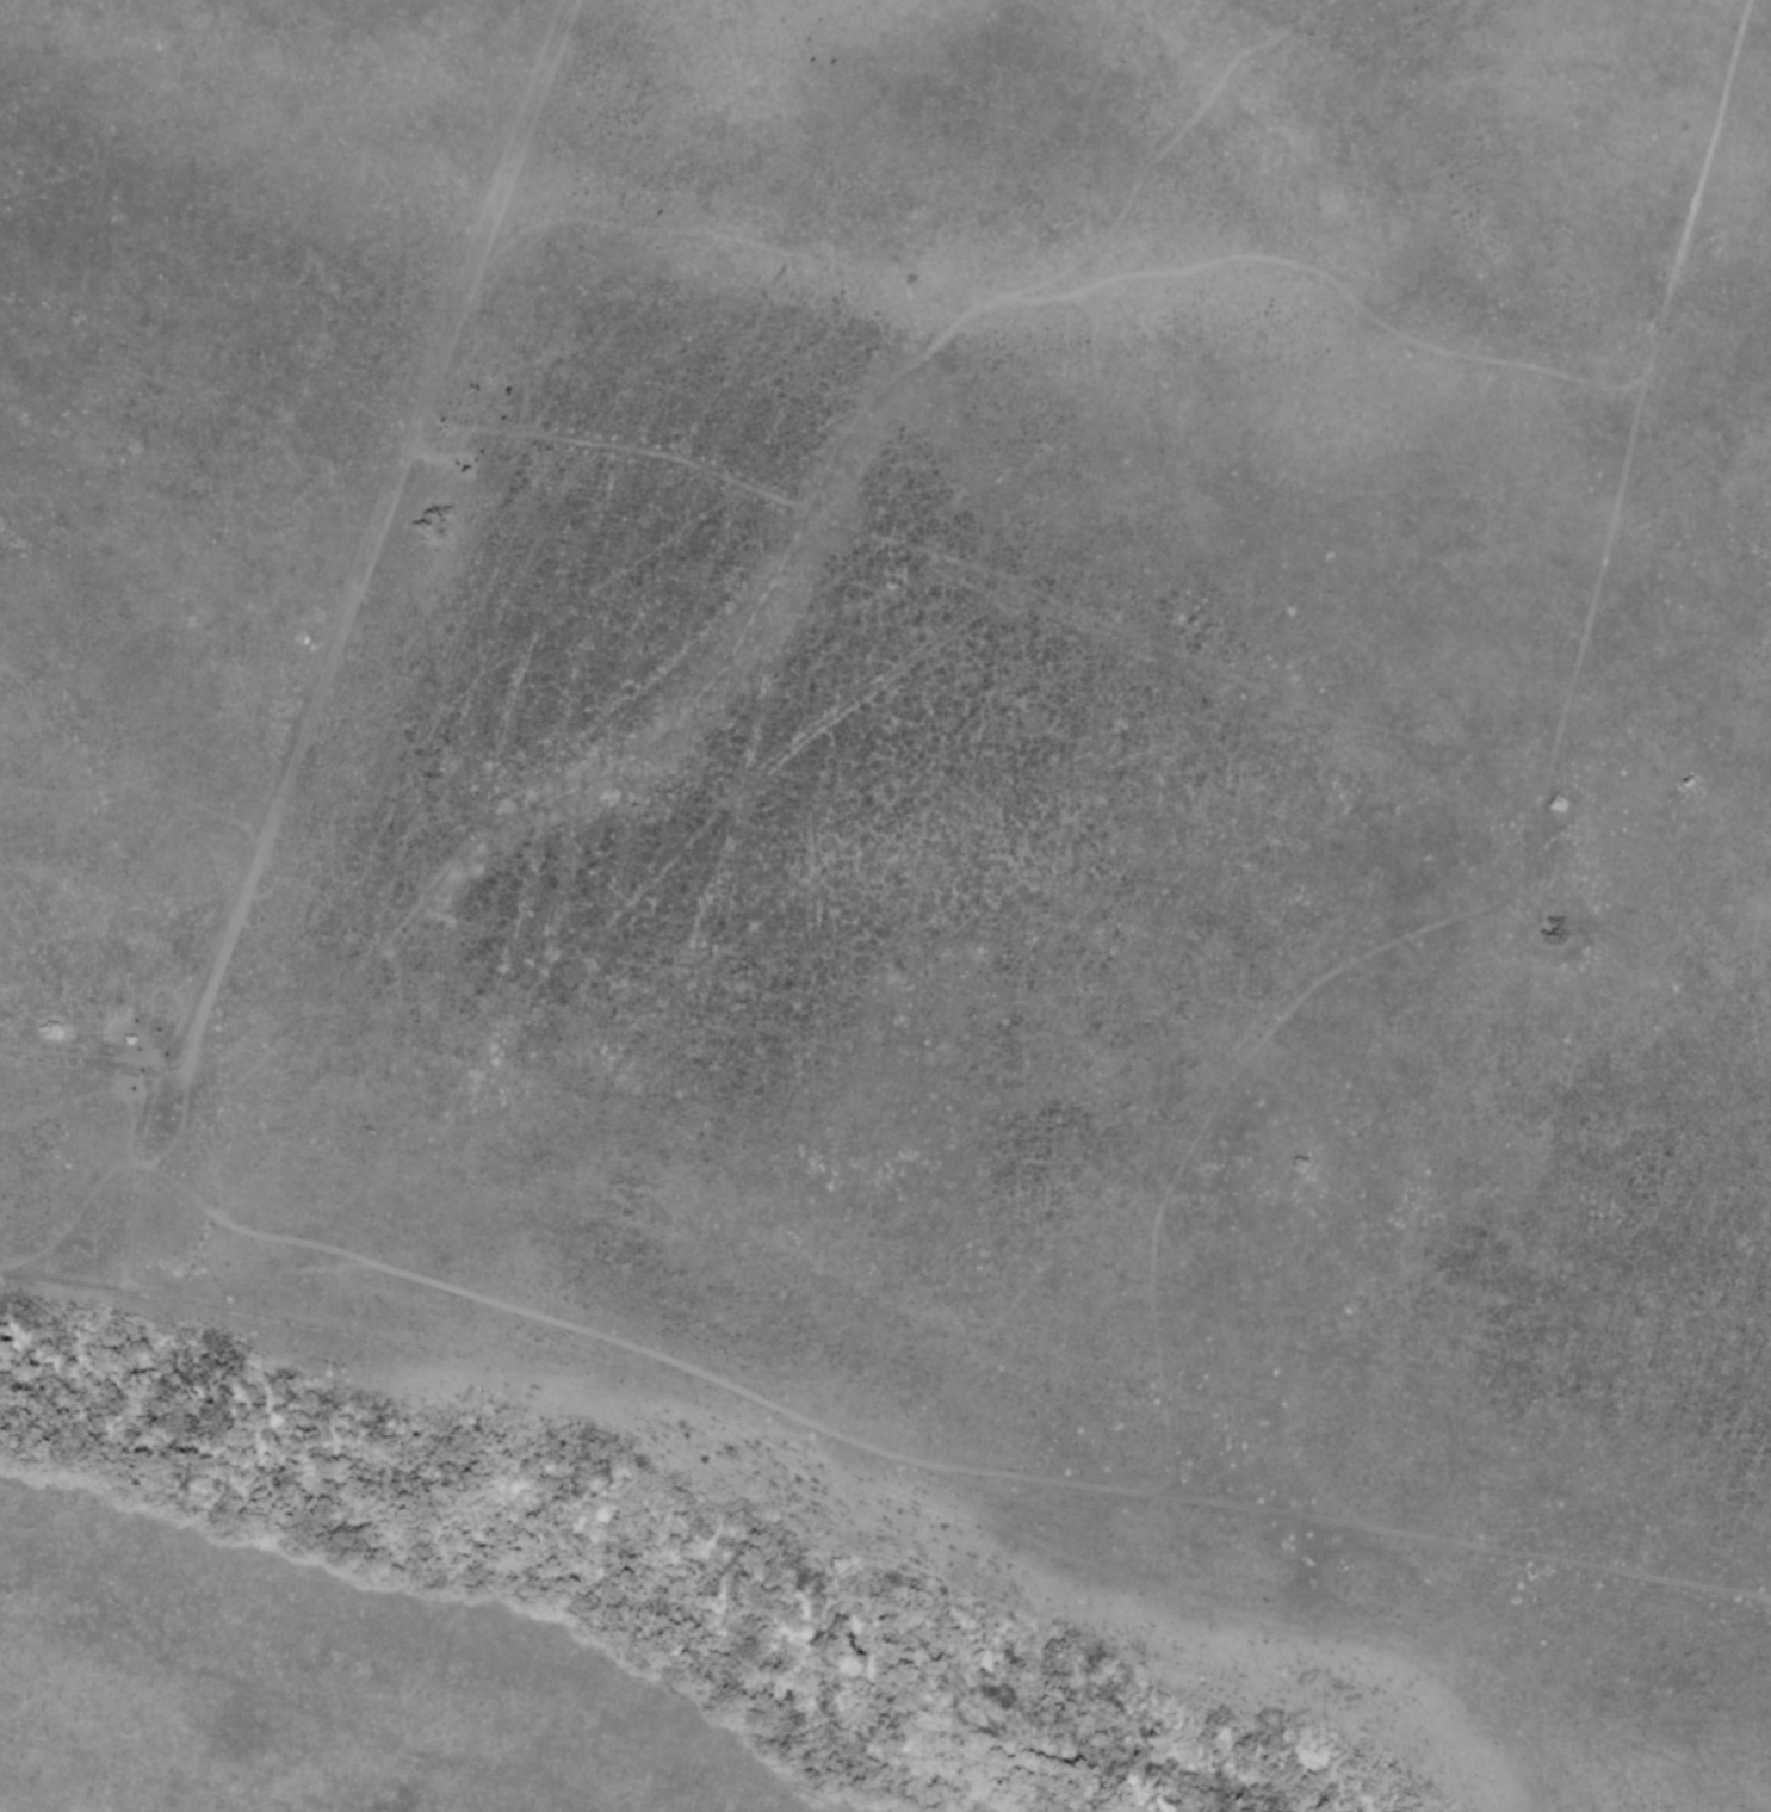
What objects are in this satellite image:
road: (1472, 1547)

